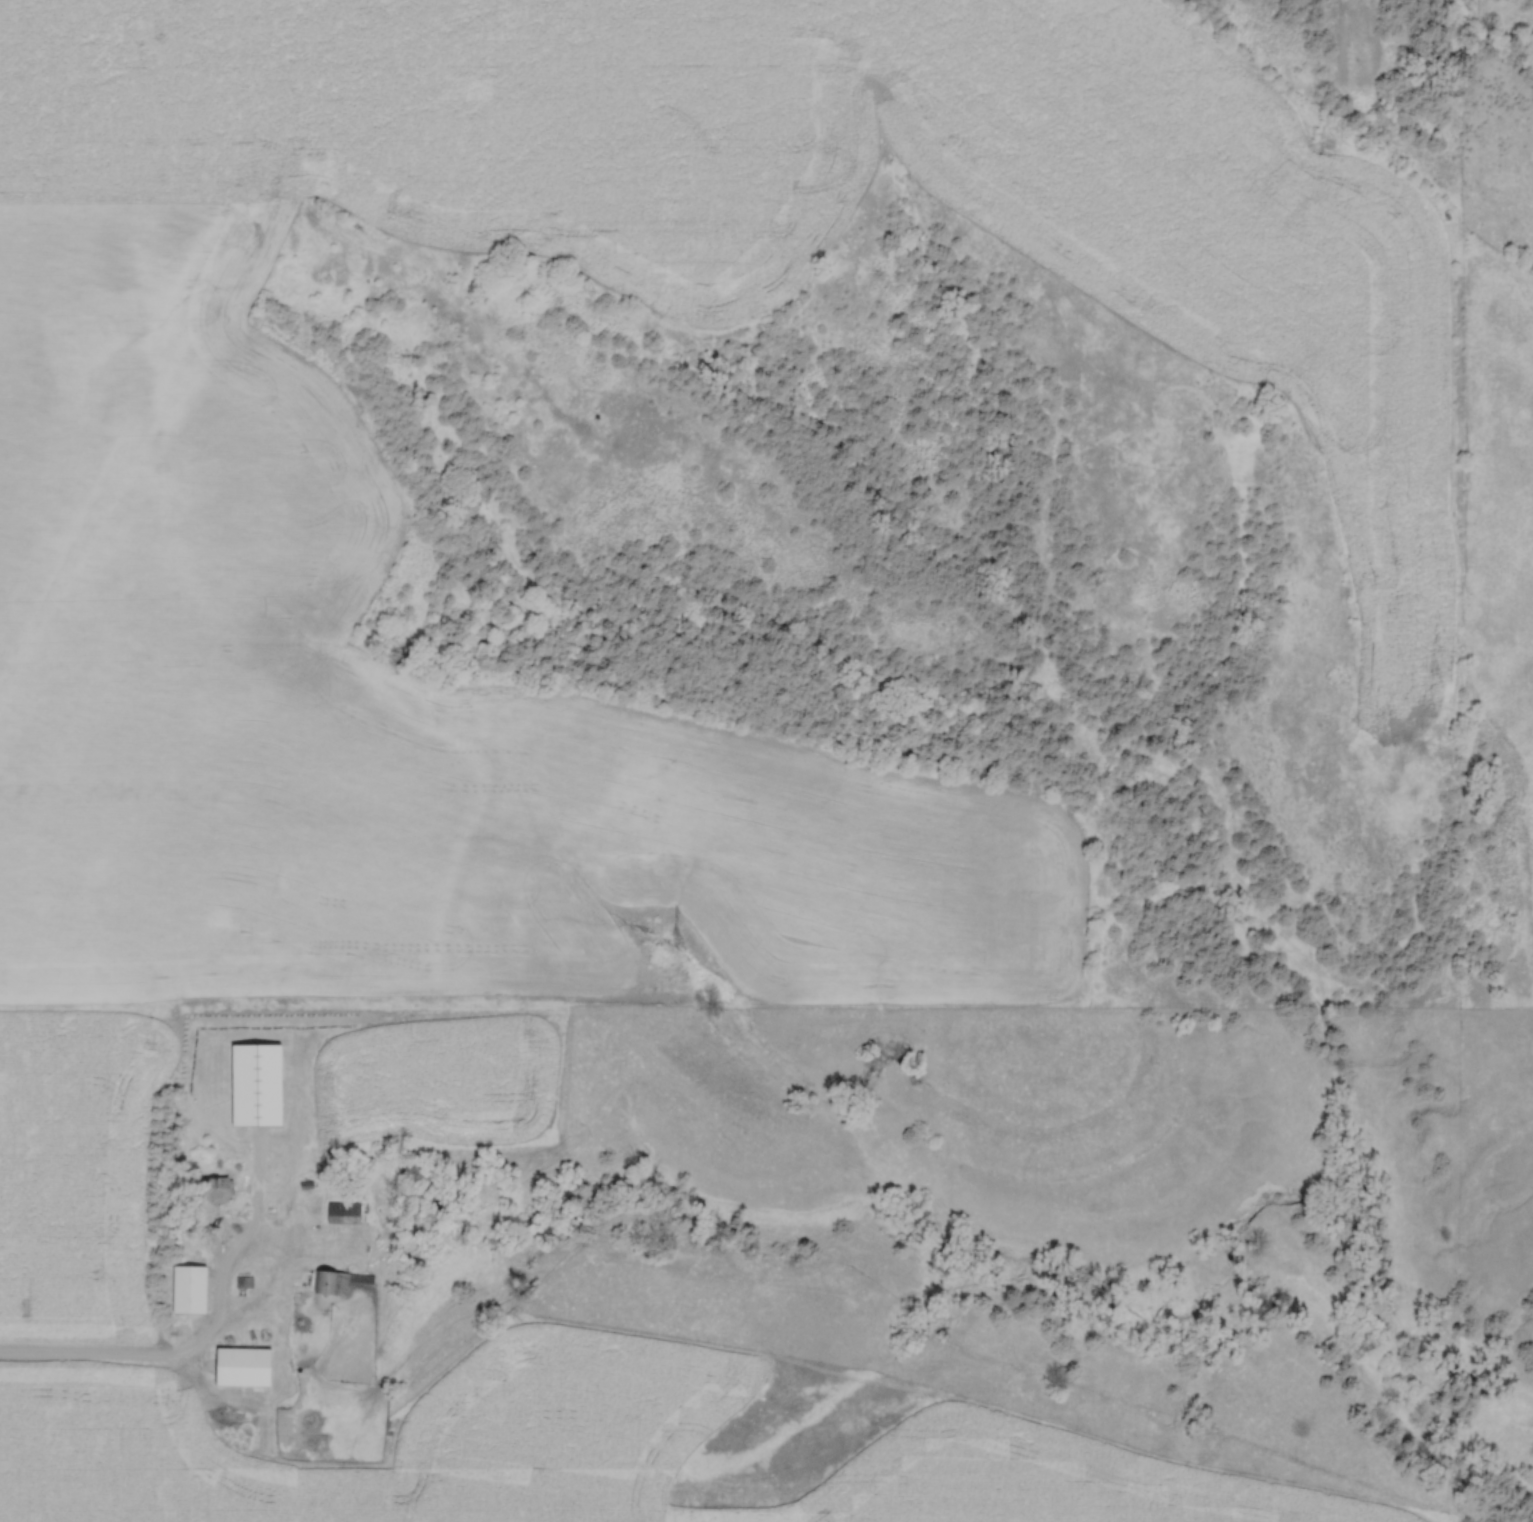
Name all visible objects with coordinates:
building: (259, 1085)
building: (214, 1188)
building: (341, 1212)
building: (338, 1281)
building: (189, 1288)
road: (106, 1357)
building: (241, 1366)

